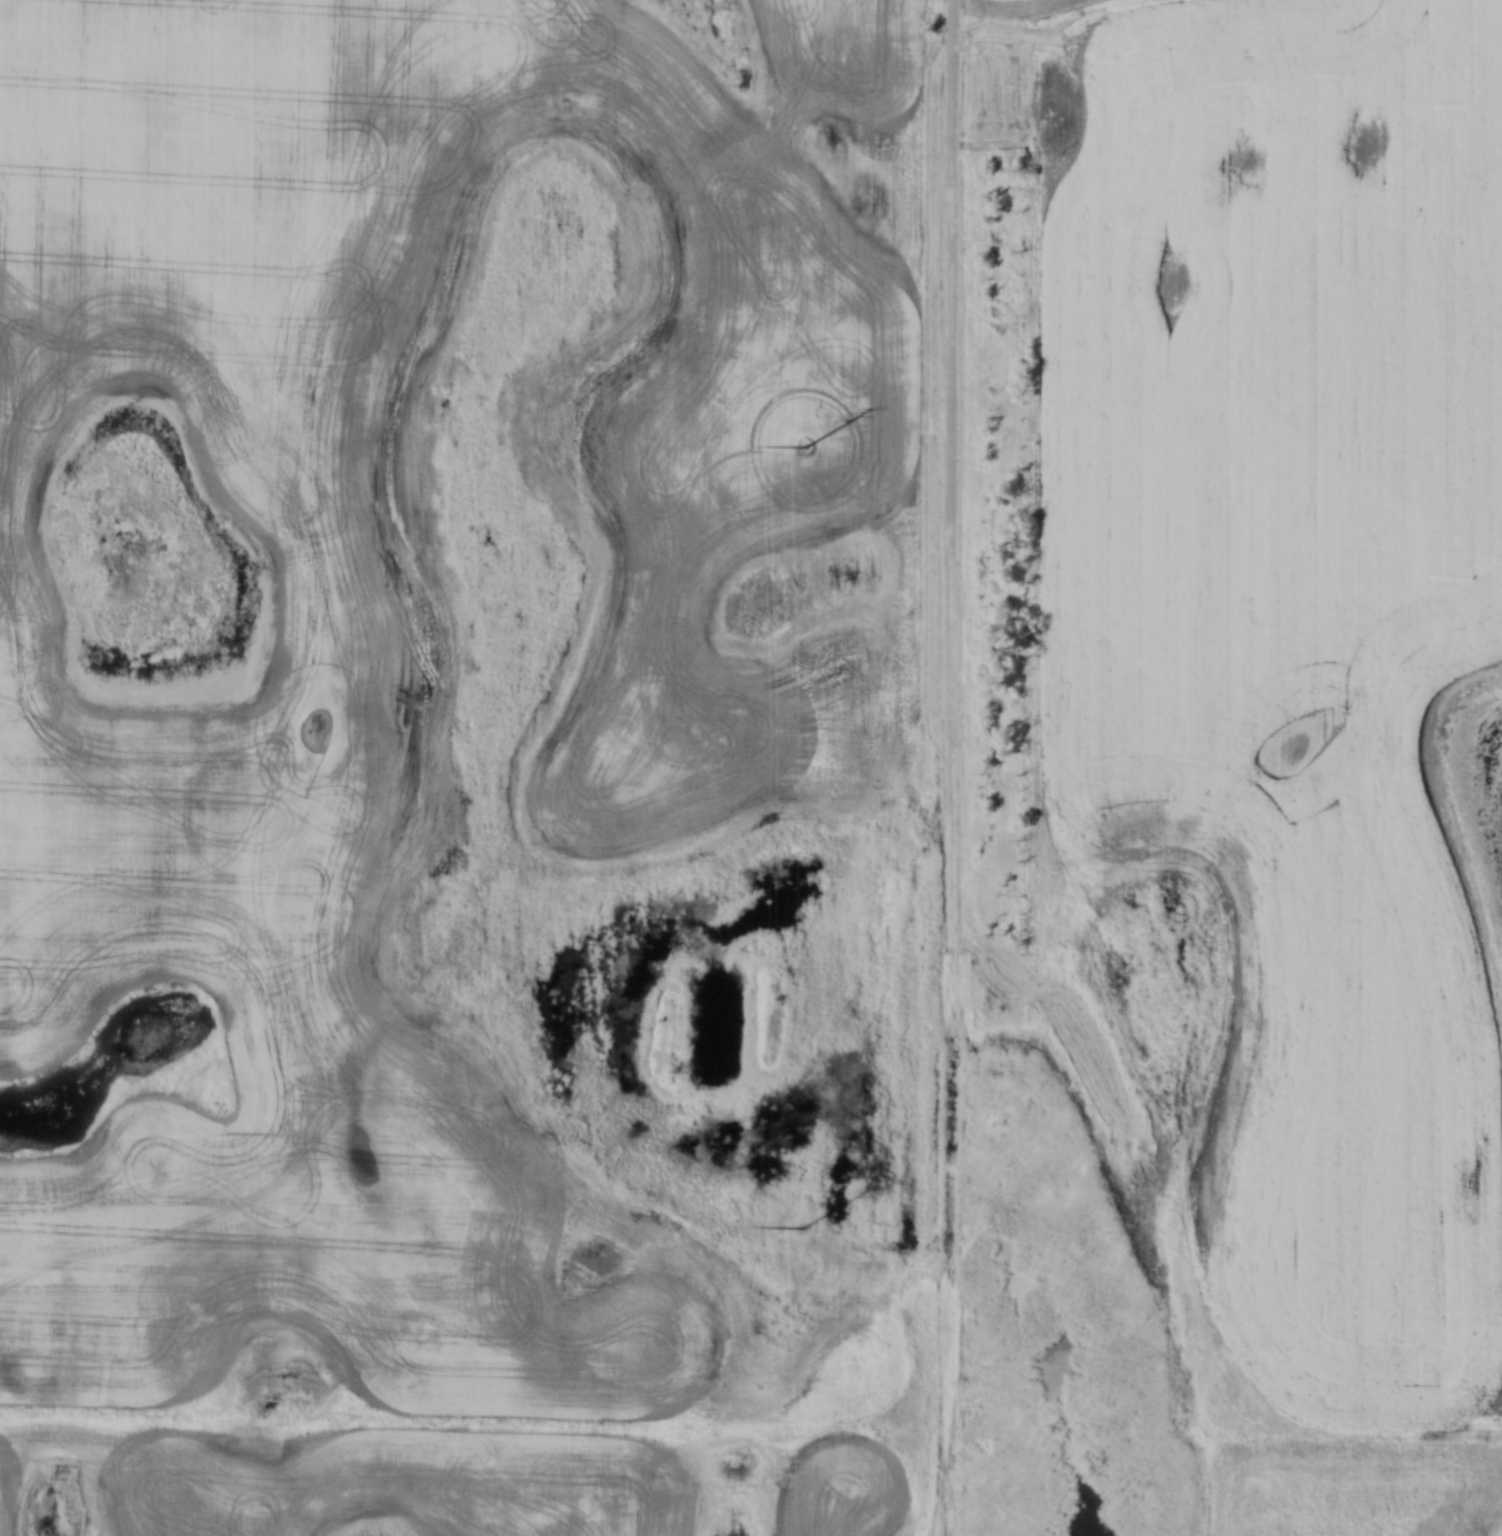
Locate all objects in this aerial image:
power tower: (813, 439)
road: (964, 768)
power tower: (813, 1227)

